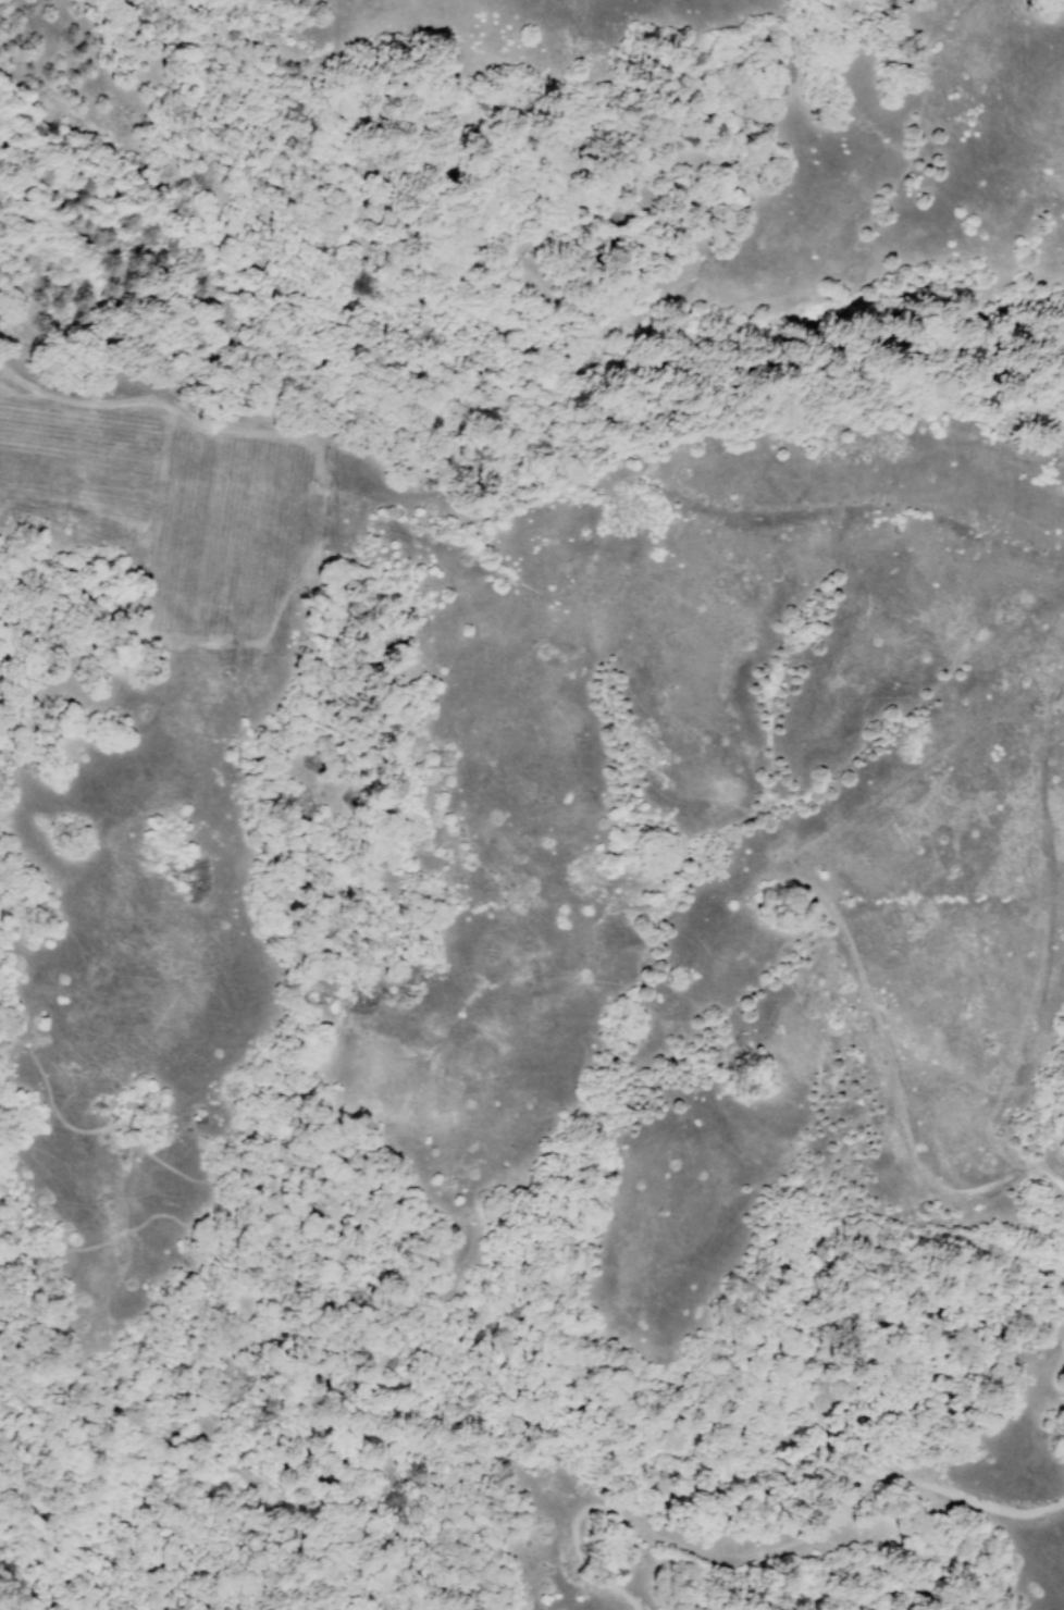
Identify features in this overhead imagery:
road: (533, 590)

